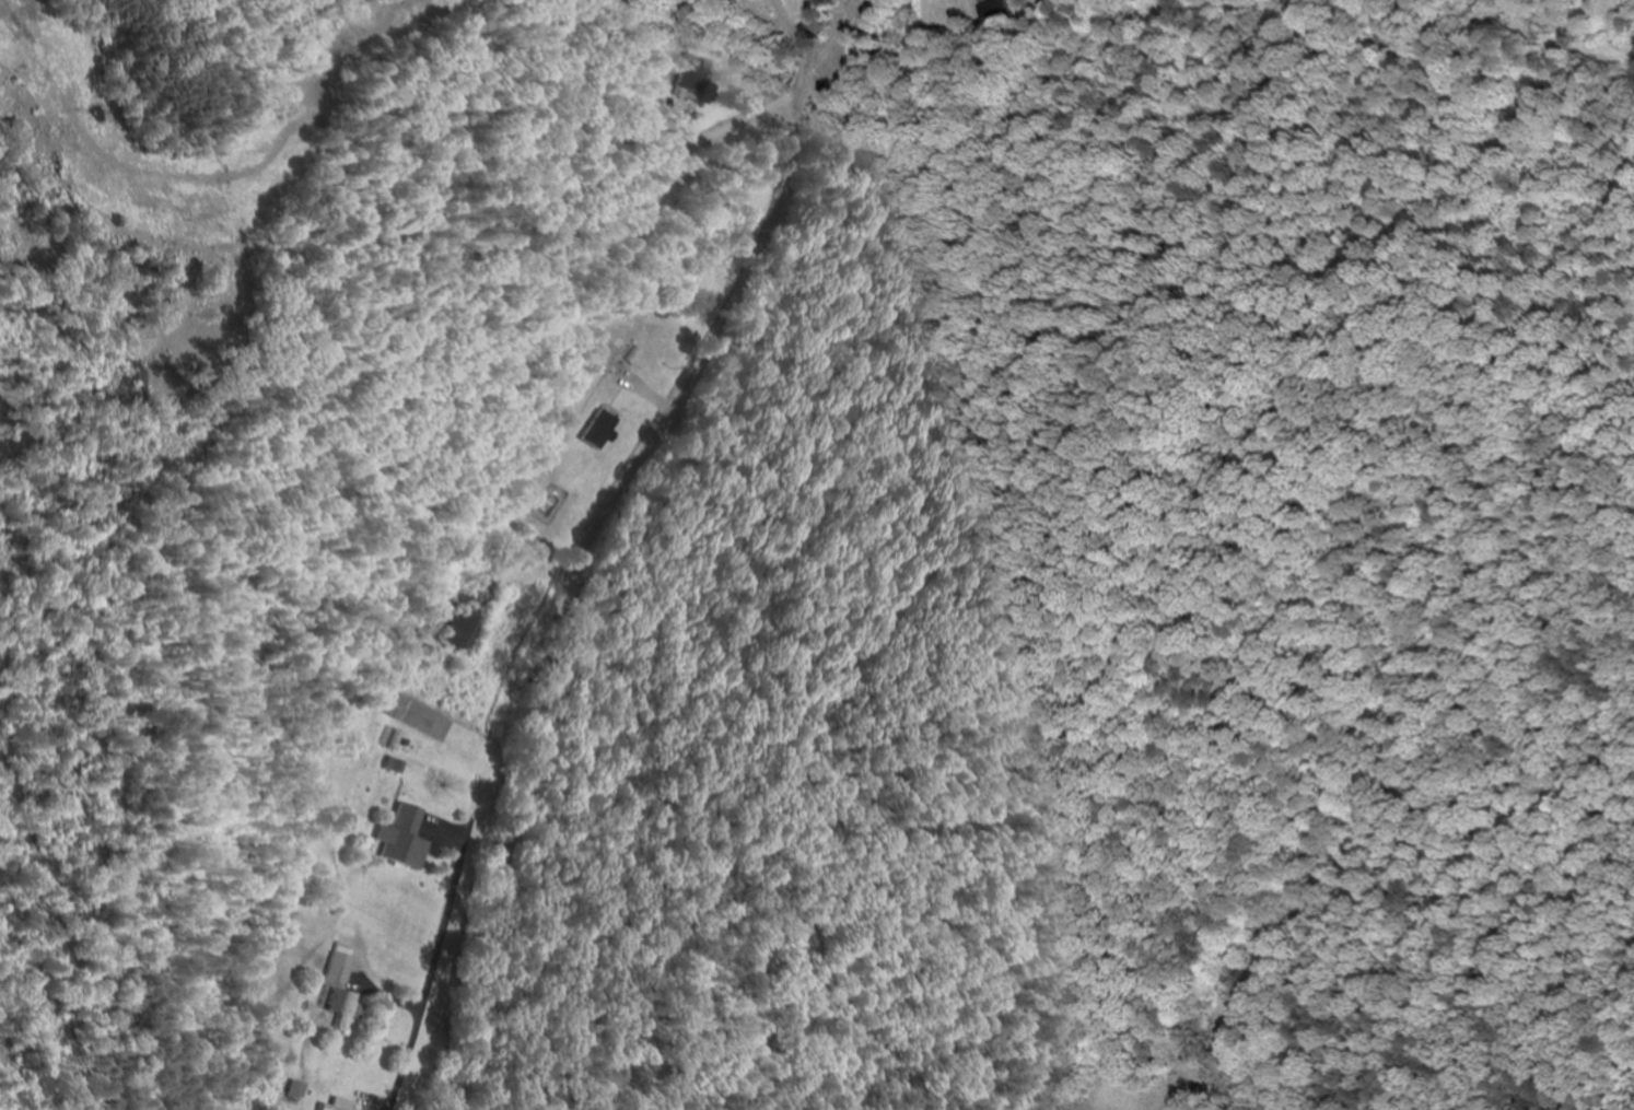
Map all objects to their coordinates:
building: (999, 12)
building: (688, 75)
building: (598, 430)
road: (591, 536)
building: (469, 610)
building: (405, 839)
building: (341, 968)
building: (346, 1008)
building: (299, 1089)
building: (338, 1106)

